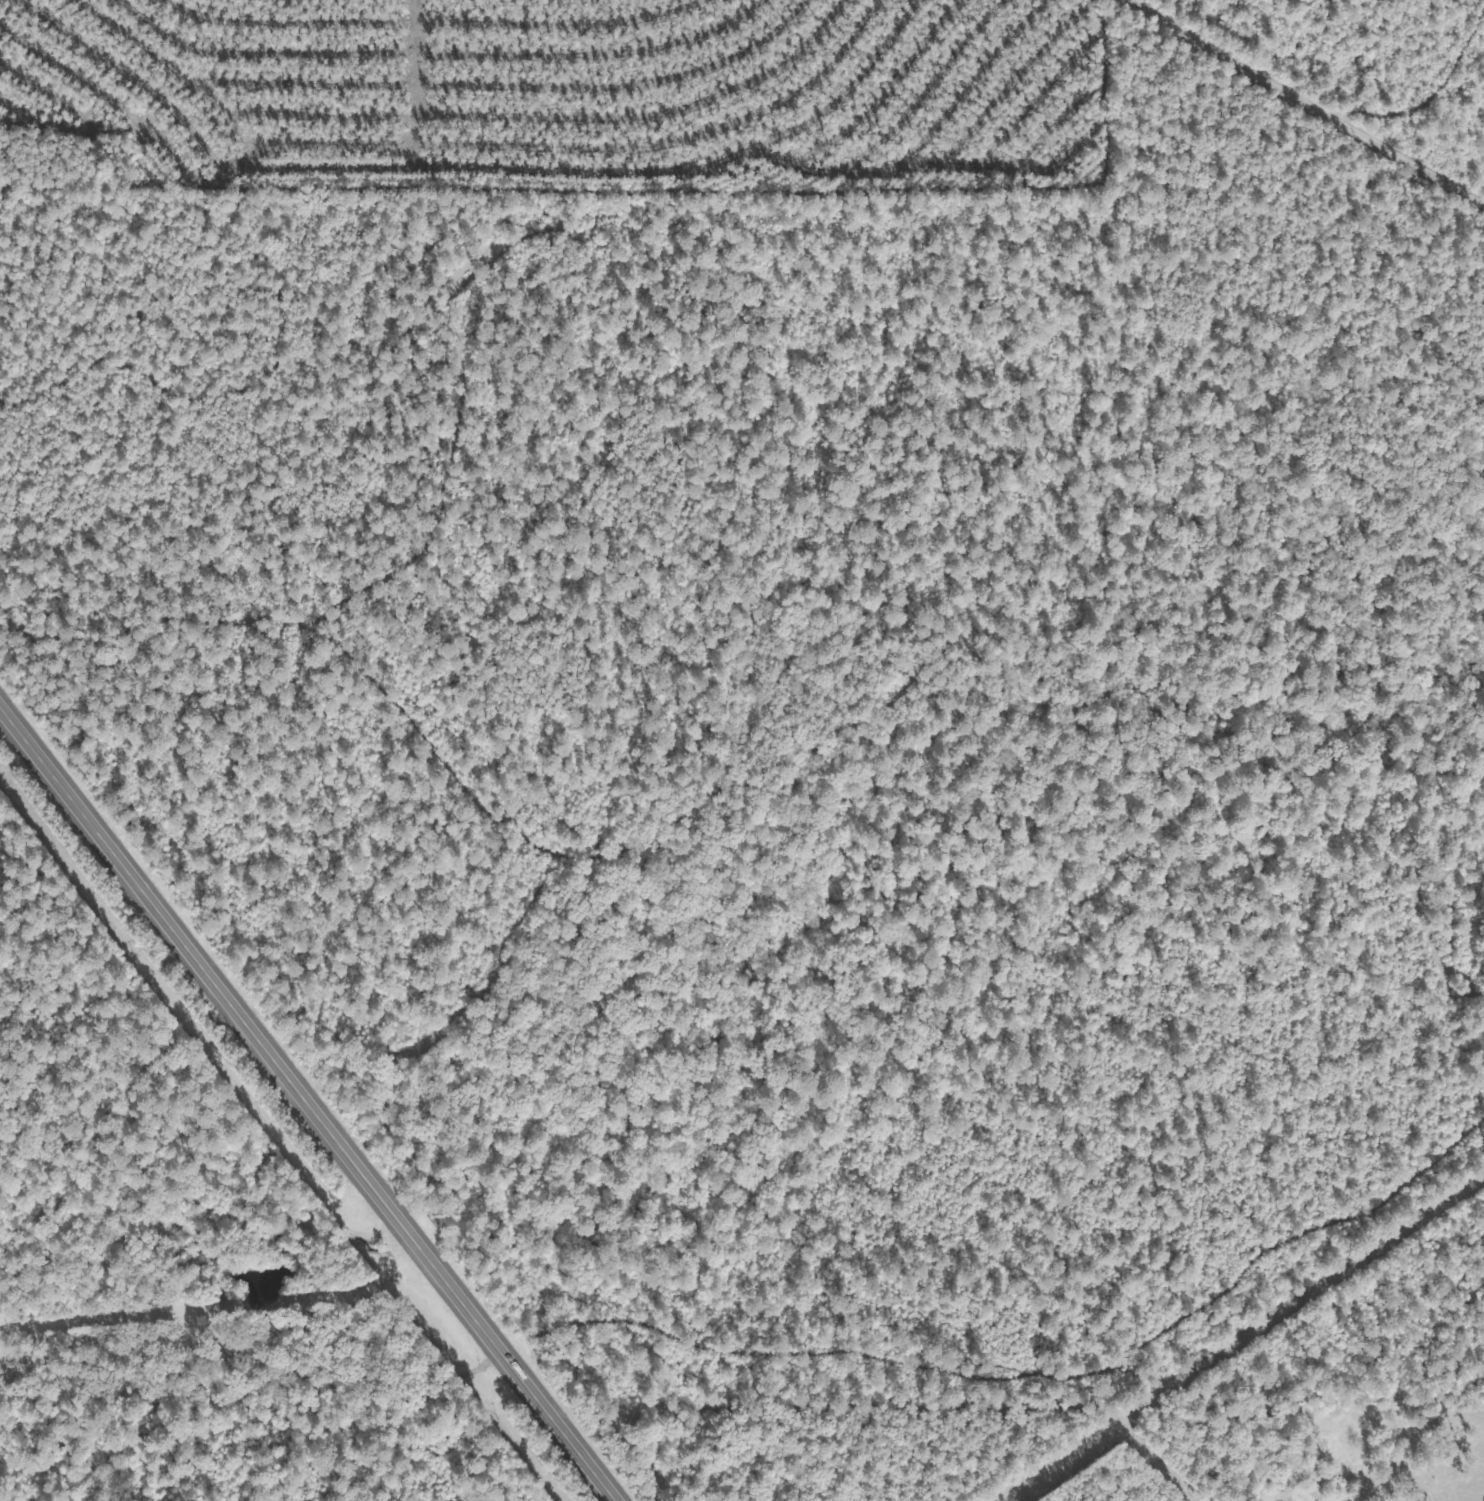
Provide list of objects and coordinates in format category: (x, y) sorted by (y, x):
road: (1278, 107)
road: (312, 1102)
building: (1305, 1490)

